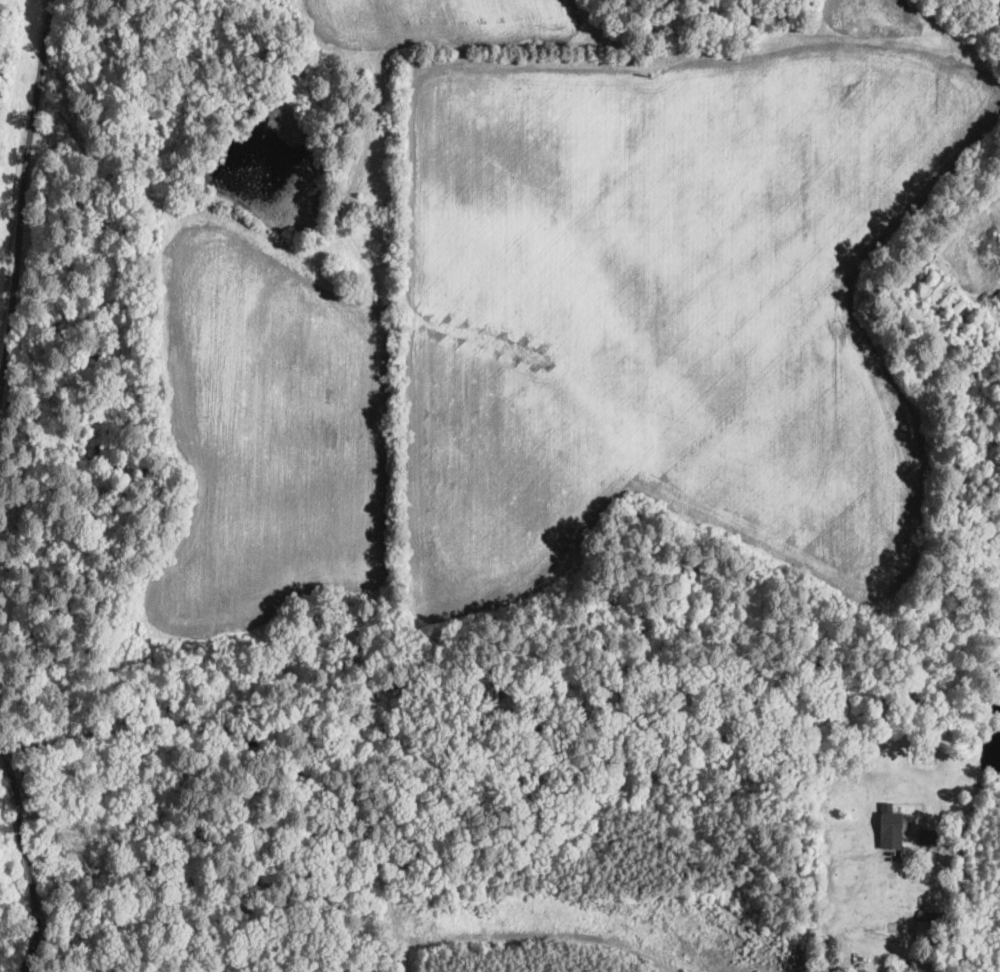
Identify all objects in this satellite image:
road: (21, 188)
building: (922, 282)
building: (929, 289)
building: (998, 296)
building: (944, 303)
building: (954, 312)
building: (964, 322)
park: (474, 343)
building: (923, 754)
building: (705, 765)
road: (12, 778)
park: (409, 832)
building: (929, 837)
building: (890, 838)
road: (26, 861)
building: (504, 868)
road: (824, 879)
building: (604, 898)
building: (930, 927)
road: (34, 942)
building: (890, 968)

